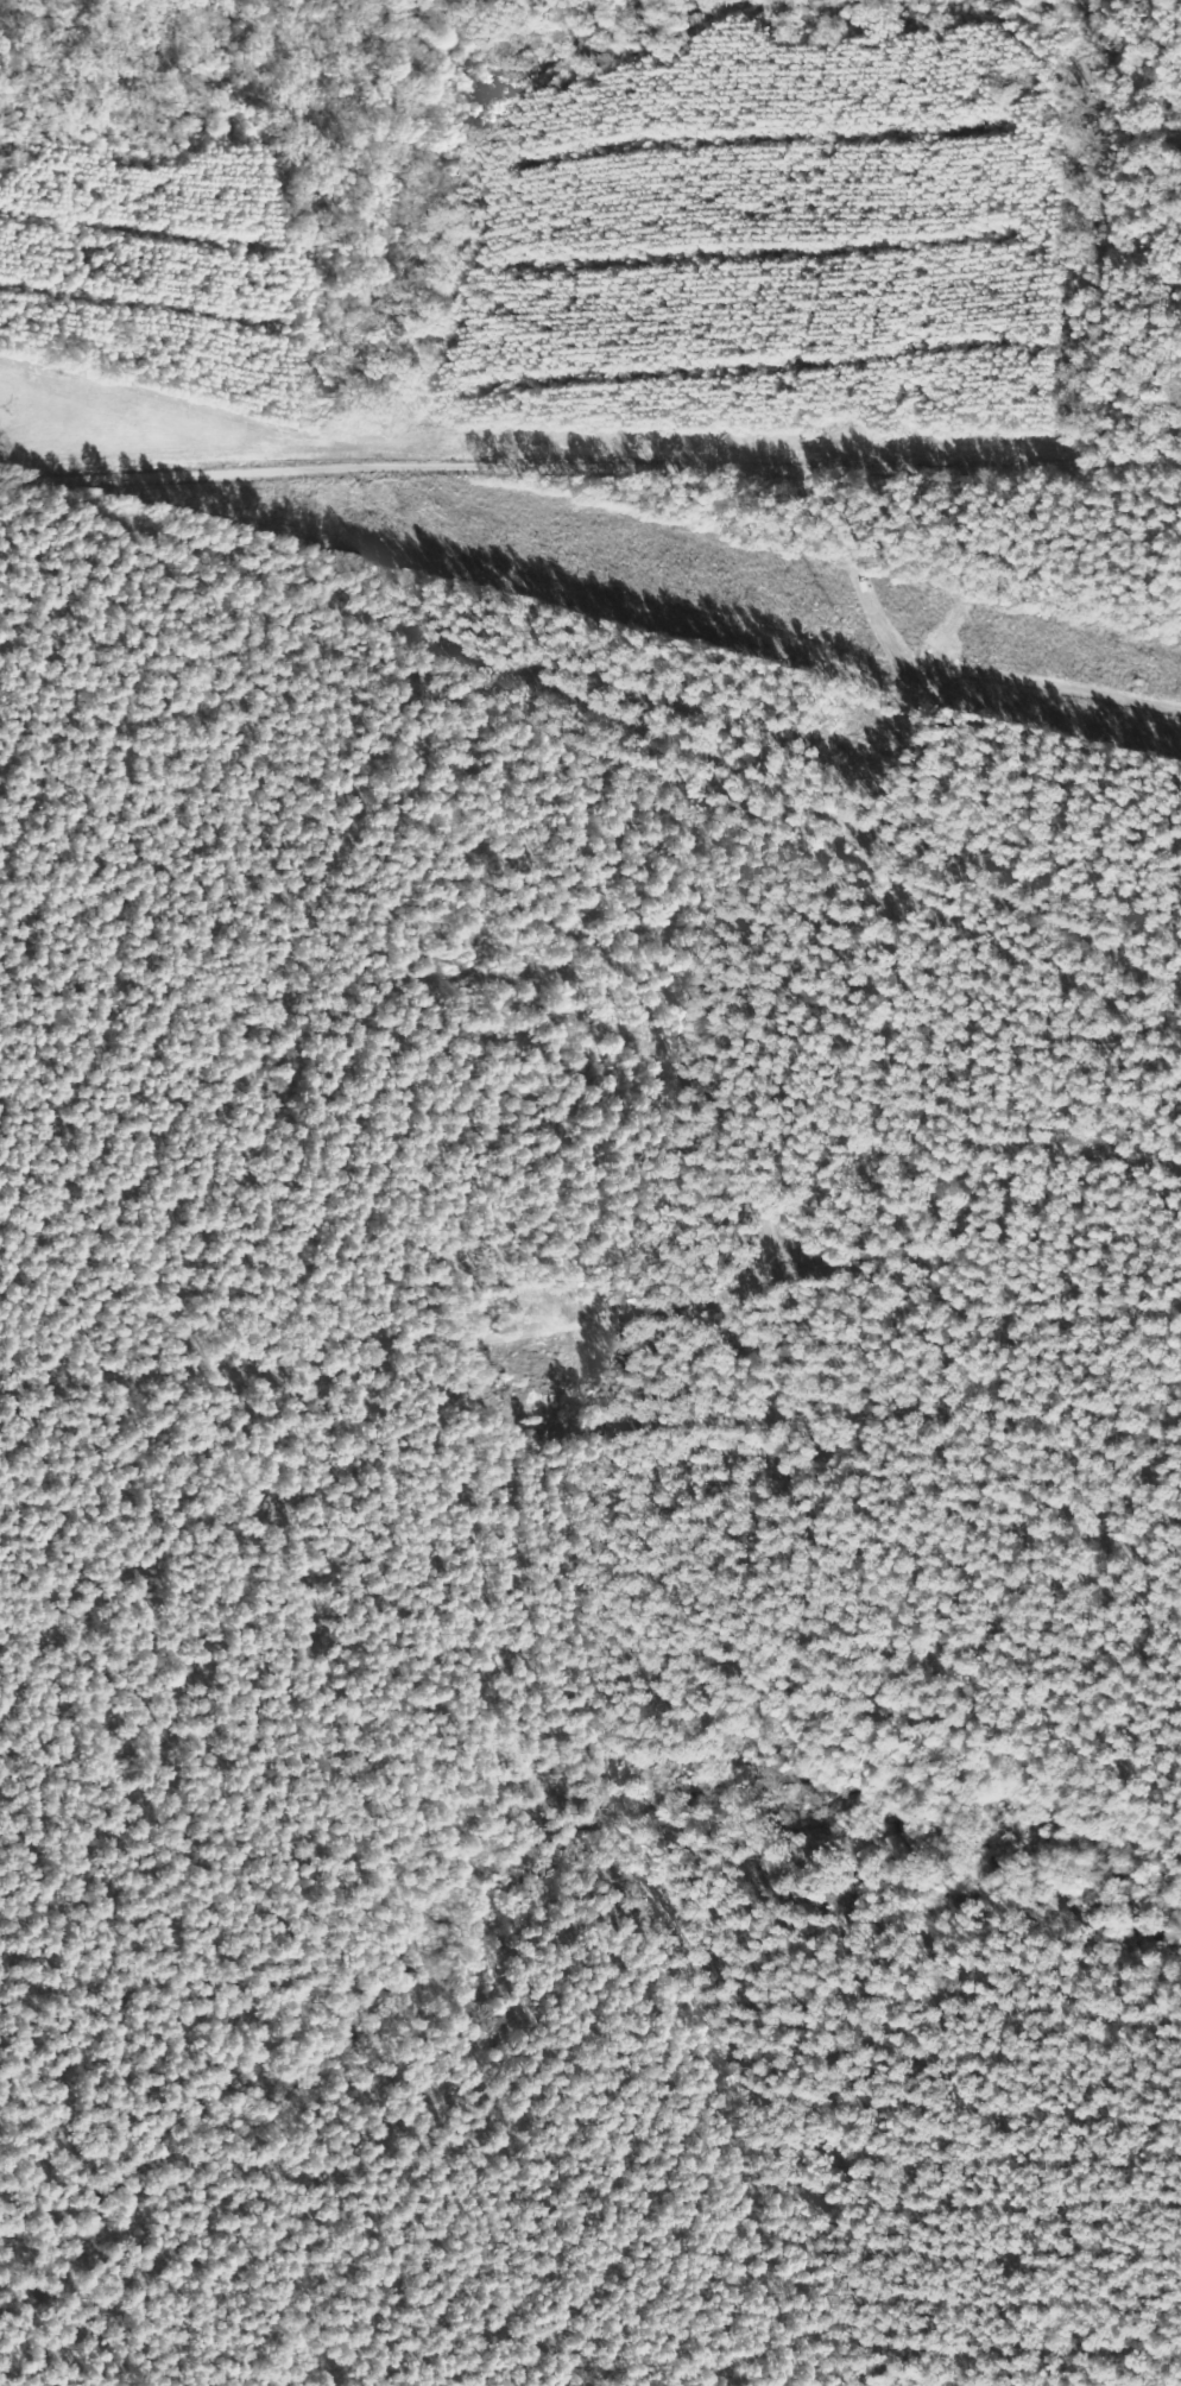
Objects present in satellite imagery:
road: (589, 465)
road: (14, 506)
power tower: (844, 623)

